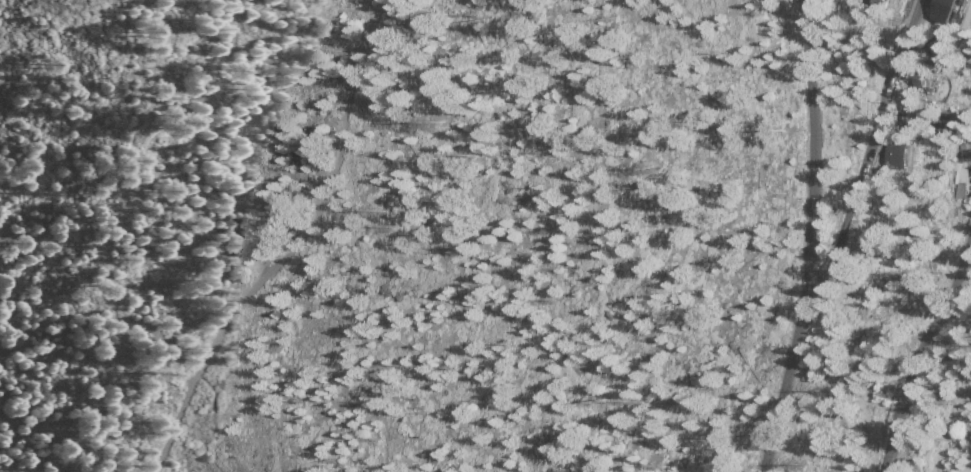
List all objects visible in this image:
building: (872, 3)
building: (952, 10)
road: (869, 149)
road: (810, 238)
road: (289, 248)
road: (102, 324)
road: (918, 352)

